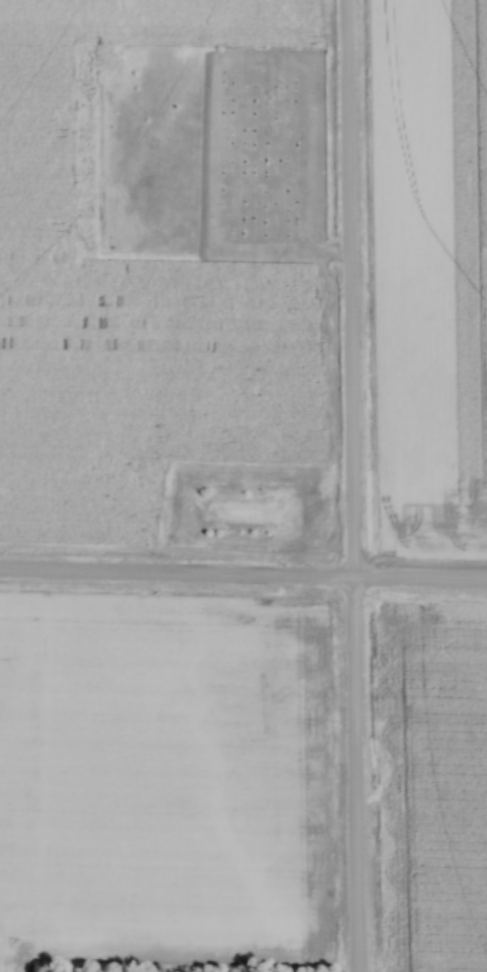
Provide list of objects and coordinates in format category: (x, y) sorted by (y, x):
road: (346, 485)
road: (243, 580)

